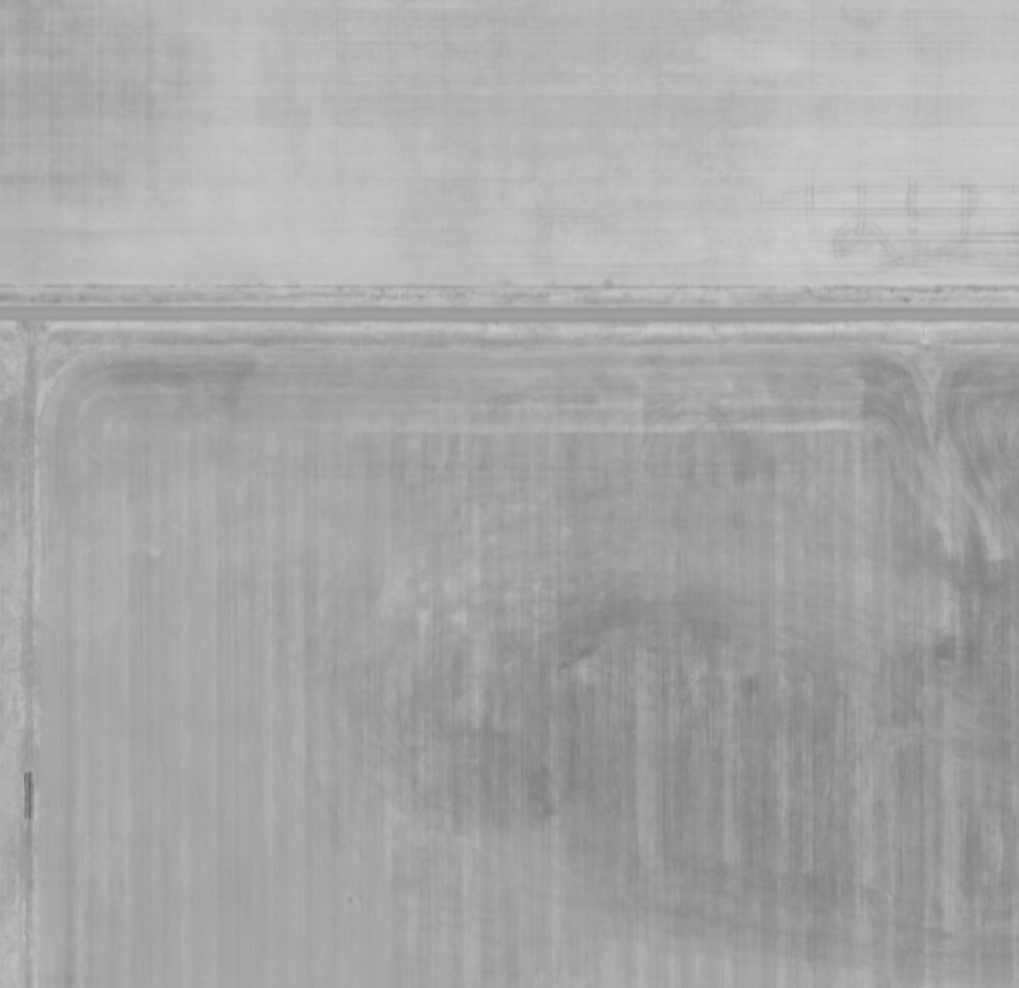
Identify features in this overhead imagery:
road: (509, 318)
road: (30, 652)

